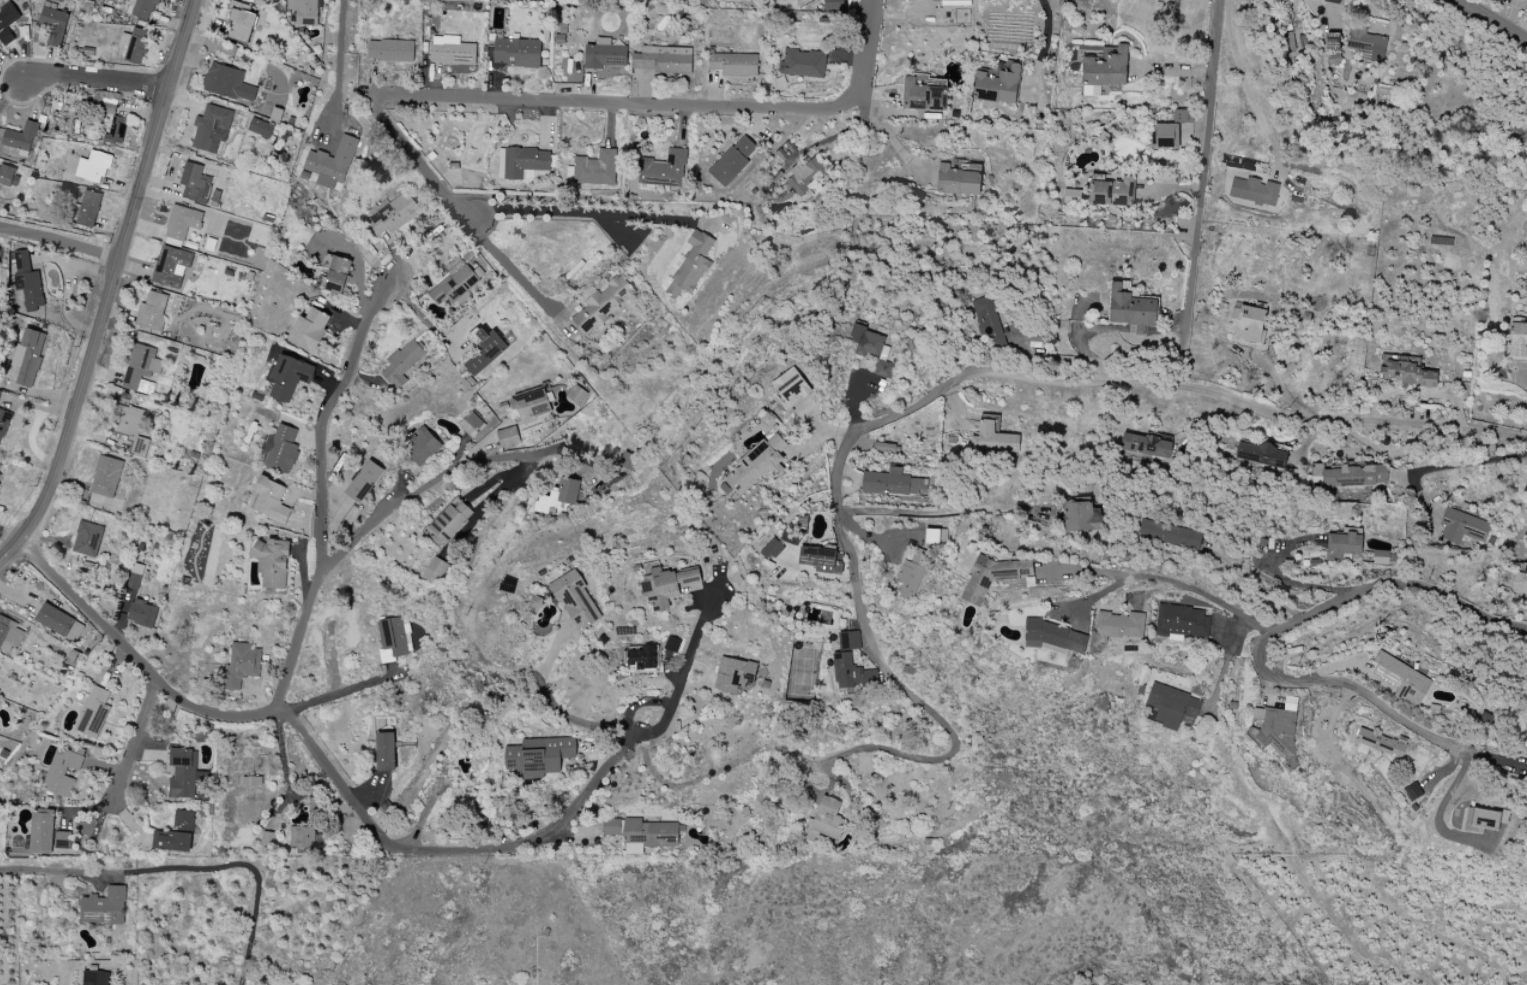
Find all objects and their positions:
building: (1334, 1)
building: (833, 5)
building: (139, 8)
building: (304, 8)
building: (8, 16)
building: (242, 21)
road: (1489, 22)
building: (55, 25)
road: (1045, 34)
building: (1366, 41)
building: (1334, 44)
building: (137, 46)
building: (391, 50)
building: (453, 51)
building: (518, 53)
building: (605, 55)
building: (664, 60)
building: (734, 64)
building: (804, 64)
building: (1106, 69)
road: (337, 73)
road: (95, 79)
building: (230, 84)
building: (998, 84)
road: (1244, 87)
building: (926, 93)
road: (660, 105)
building: (1182, 116)
building: (260, 128)
building: (212, 129)
building: (116, 131)
road: (886, 132)
building: (1164, 137)
building: (17, 141)
road: (419, 160)
building: (333, 161)
building: (733, 161)
building: (524, 162)
building: (98, 168)
building: (596, 168)
building: (665, 170)
building: (7, 173)
building: (808, 176)
building: (958, 182)
building: (195, 184)
building: (1112, 189)
building: (1254, 190)
building: (89, 210)
road: (589, 214)
building: (393, 216)
building: (182, 222)
road: (1196, 236)
road: (59, 241)
road: (1119, 254)
building: (691, 266)
building: (171, 267)
road: (515, 273)
building: (338, 276)
road: (1181, 281)
building: (25, 282)
building: (454, 285)
road: (110, 286)
building: (604, 305)
building: (1130, 307)
building: (153, 312)
road: (423, 317)
building: (989, 324)
building: (1249, 324)
road: (1056, 327)
building: (310, 330)
road: (1212, 341)
building: (866, 342)
building: (1511, 345)
building: (486, 352)
building: (29, 356)
building: (402, 365)
building: (884, 369)
building: (142, 370)
building: (1406, 371)
building: (288, 377)
road: (1525, 377)
road: (1057, 385)
building: (791, 387)
building: (576, 394)
building: (535, 404)
building: (4, 422)
building: (472, 425)
building: (128, 431)
building: (511, 437)
building: (994, 439)
building: (1147, 446)
building: (423, 447)
building: (884, 448)
building: (282, 450)
building: (1261, 456)
building: (627, 461)
road: (1468, 462)
building: (757, 465)
building: (0, 466)
road: (446, 473)
building: (0, 476)
building: (106, 477)
building: (1356, 477)
building: (365, 481)
building: (886, 484)
building: (559, 497)
building: (271, 500)
road: (935, 513)
building: (1081, 518)
building: (449, 523)
building: (1463, 527)
road: (10, 535)
building: (1170, 535)
building: (935, 536)
building: (88, 539)
road: (875, 541)
building: (1344, 548)
building: (772, 549)
building: (1385, 558)
building: (822, 560)
building: (273, 562)
building: (436, 570)
building: (134, 576)
building: (993, 576)
building: (910, 579)
road: (1169, 581)
building: (1520, 583)
building: (668, 586)
road: (1254, 586)
building: (576, 600)
building: (537, 602)
building: (143, 614)
building: (55, 620)
building: (1182, 622)
building: (1119, 626)
building: (9, 634)
building: (1054, 636)
building: (395, 637)
building: (849, 641)
building: (672, 645)
road: (1265, 645)
road: (302, 652)
building: (640, 659)
road: (1227, 660)
road: (683, 664)
building: (242, 666)
building: (846, 671)
building: (735, 676)
building: (1401, 680)
road: (340, 693)
building: (1233, 705)
road: (555, 706)
building: (1171, 706)
building: (94, 714)
building: (1276, 733)
road: (135, 743)
building: (1383, 743)
building: (387, 751)
road: (280, 753)
building: (540, 756)
road: (932, 758)
building: (63, 773)
building: (184, 774)
building: (1414, 792)
road: (1444, 802)
building: (1483, 818)
building: (825, 822)
building: (641, 833)
building: (42, 834)
building: (176, 835)
building: (302, 837)
building: (63, 840)
road: (452, 848)
road: (187, 870)
building: (105, 908)
building: (96, 978)

